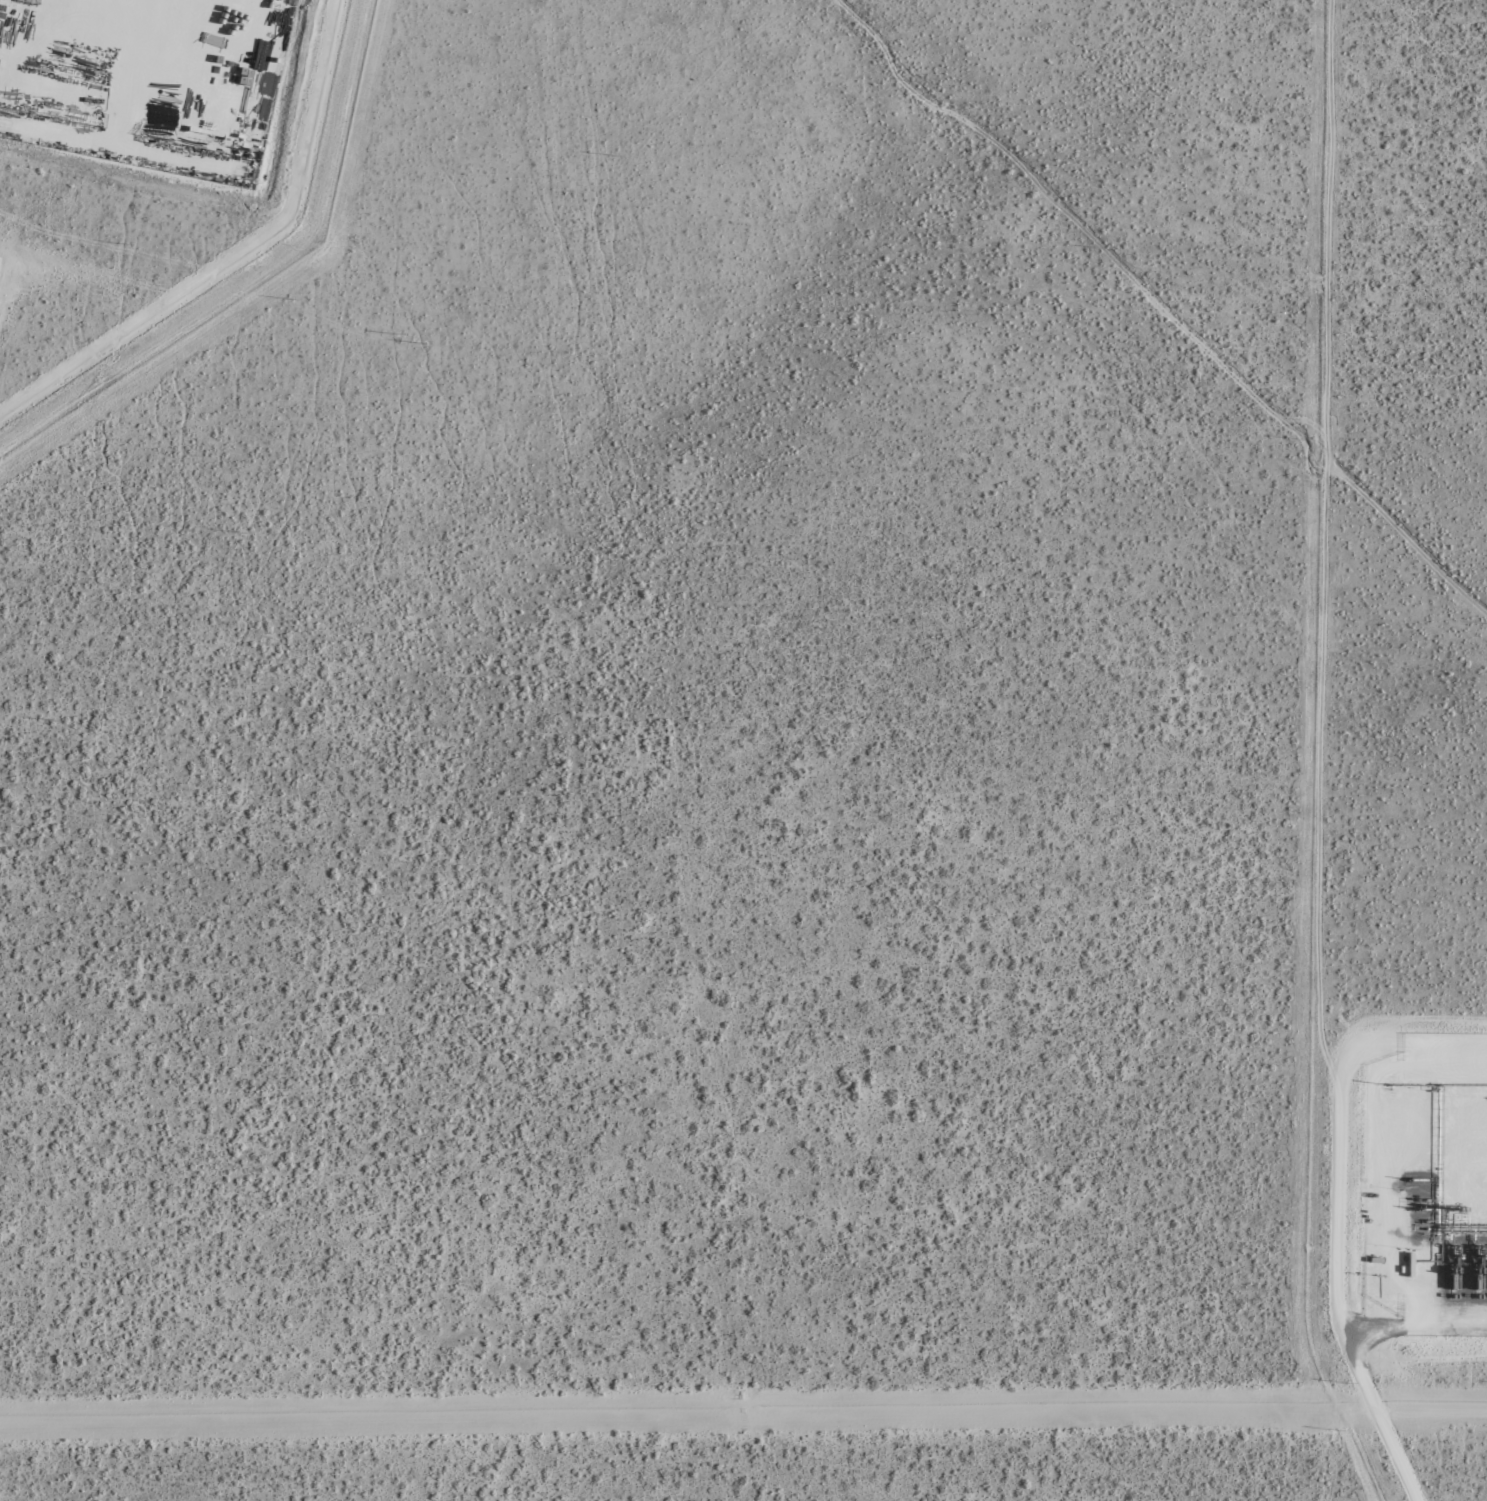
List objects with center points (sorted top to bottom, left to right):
road: (1416, 1059)
road: (1339, 1269)

